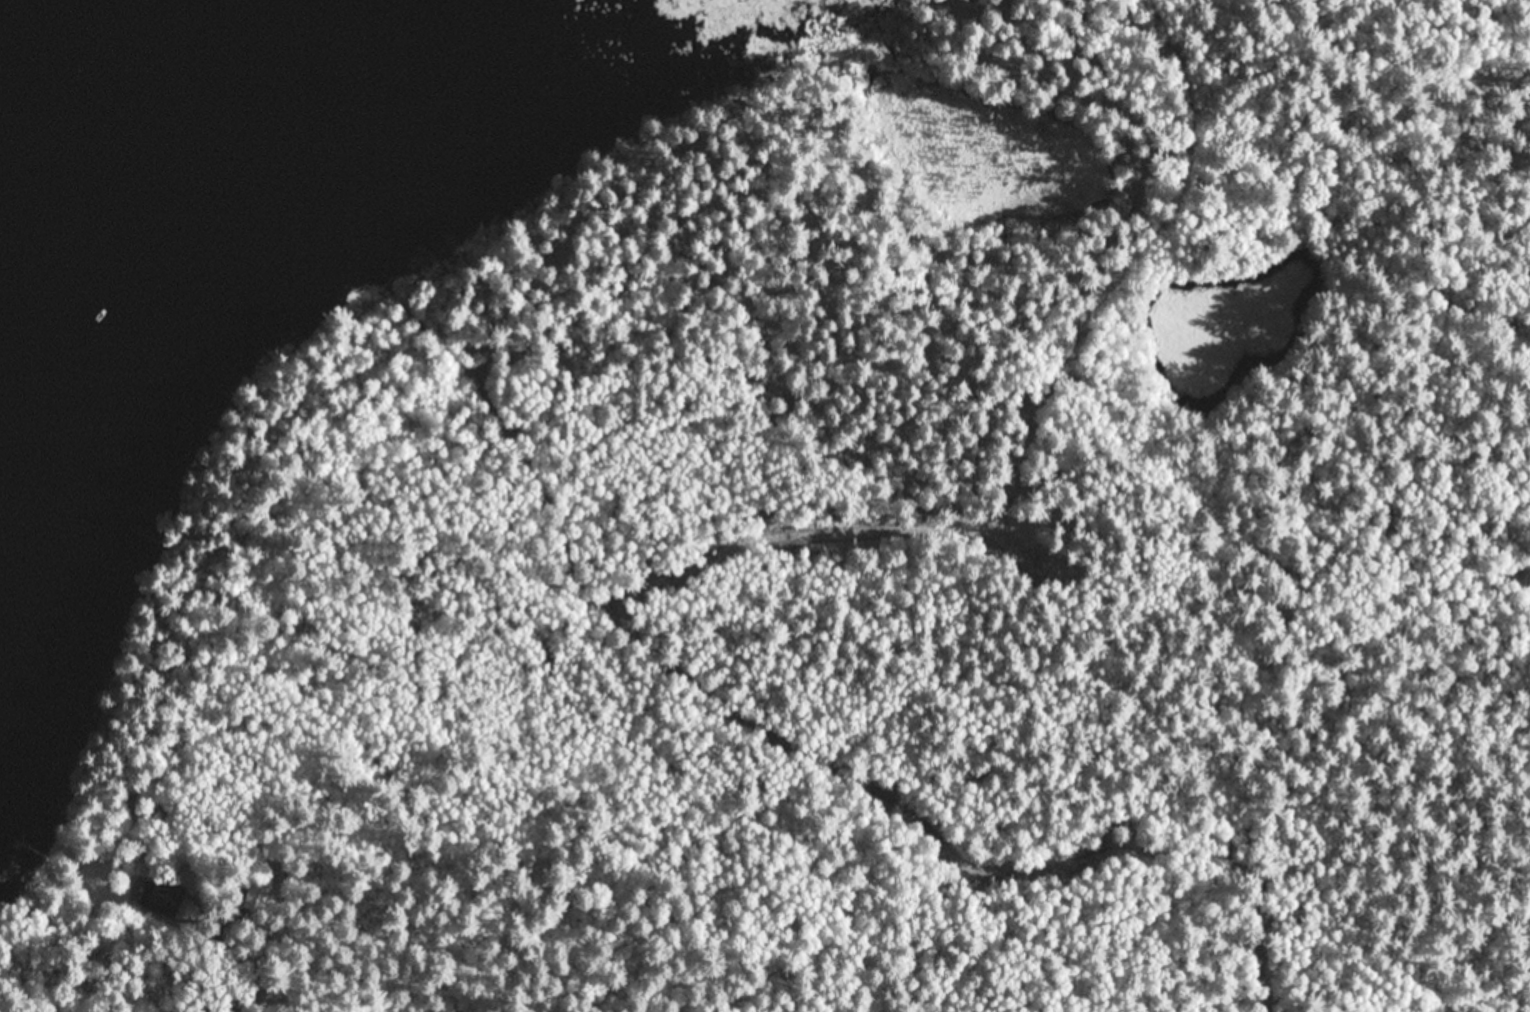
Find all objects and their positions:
building: (258, 894)
building: (163, 898)
building: (223, 901)

